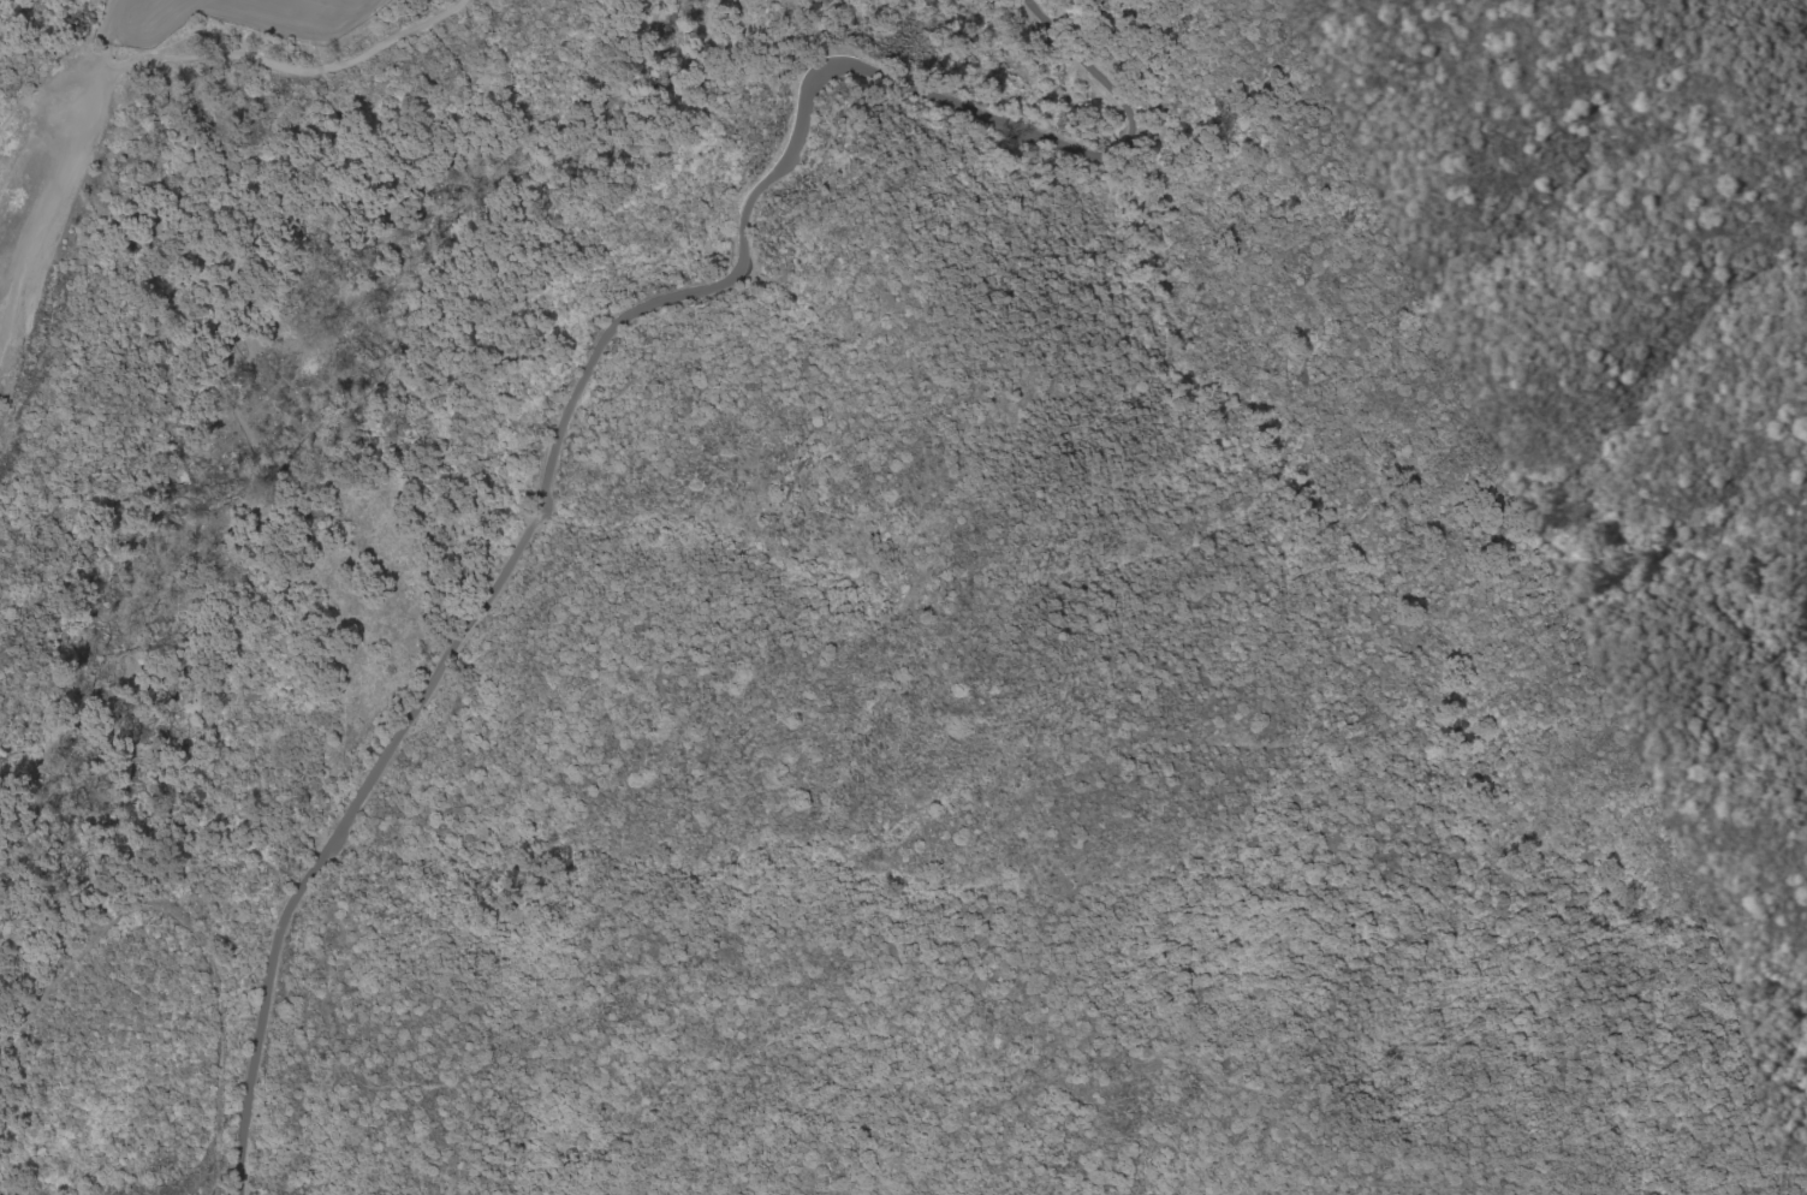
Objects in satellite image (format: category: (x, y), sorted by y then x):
road: (148, 6)
road: (285, 24)
road: (233, 58)
road: (61, 179)
road: (593, 362)
road: (244, 364)
park: (281, 471)
road: (194, 933)
road: (825, 958)

